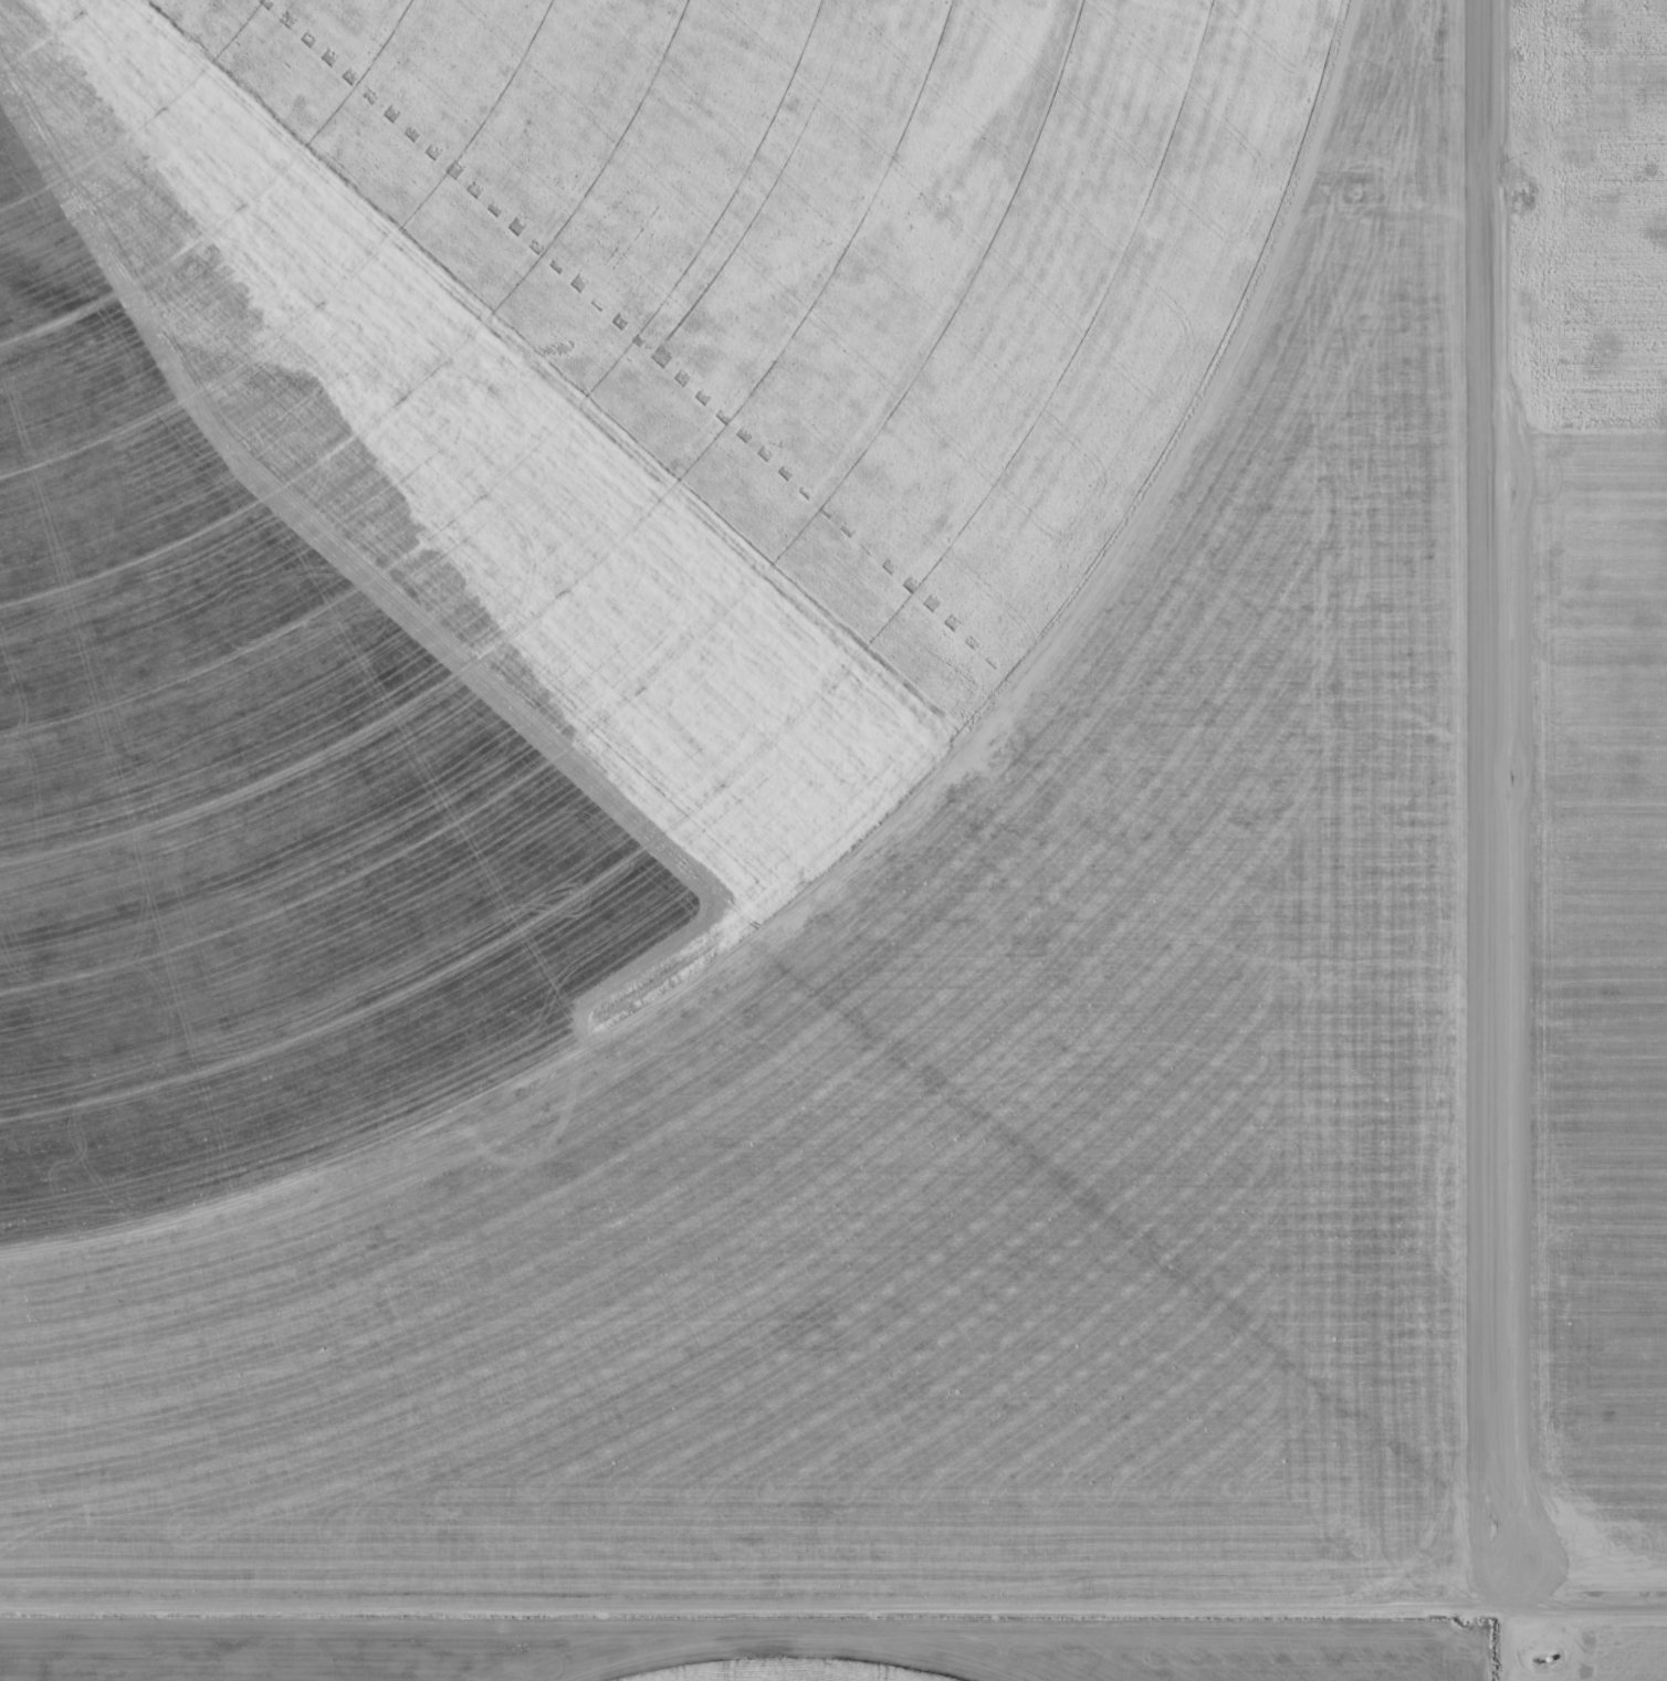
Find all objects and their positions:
road: (1499, 840)
road: (753, 1660)

